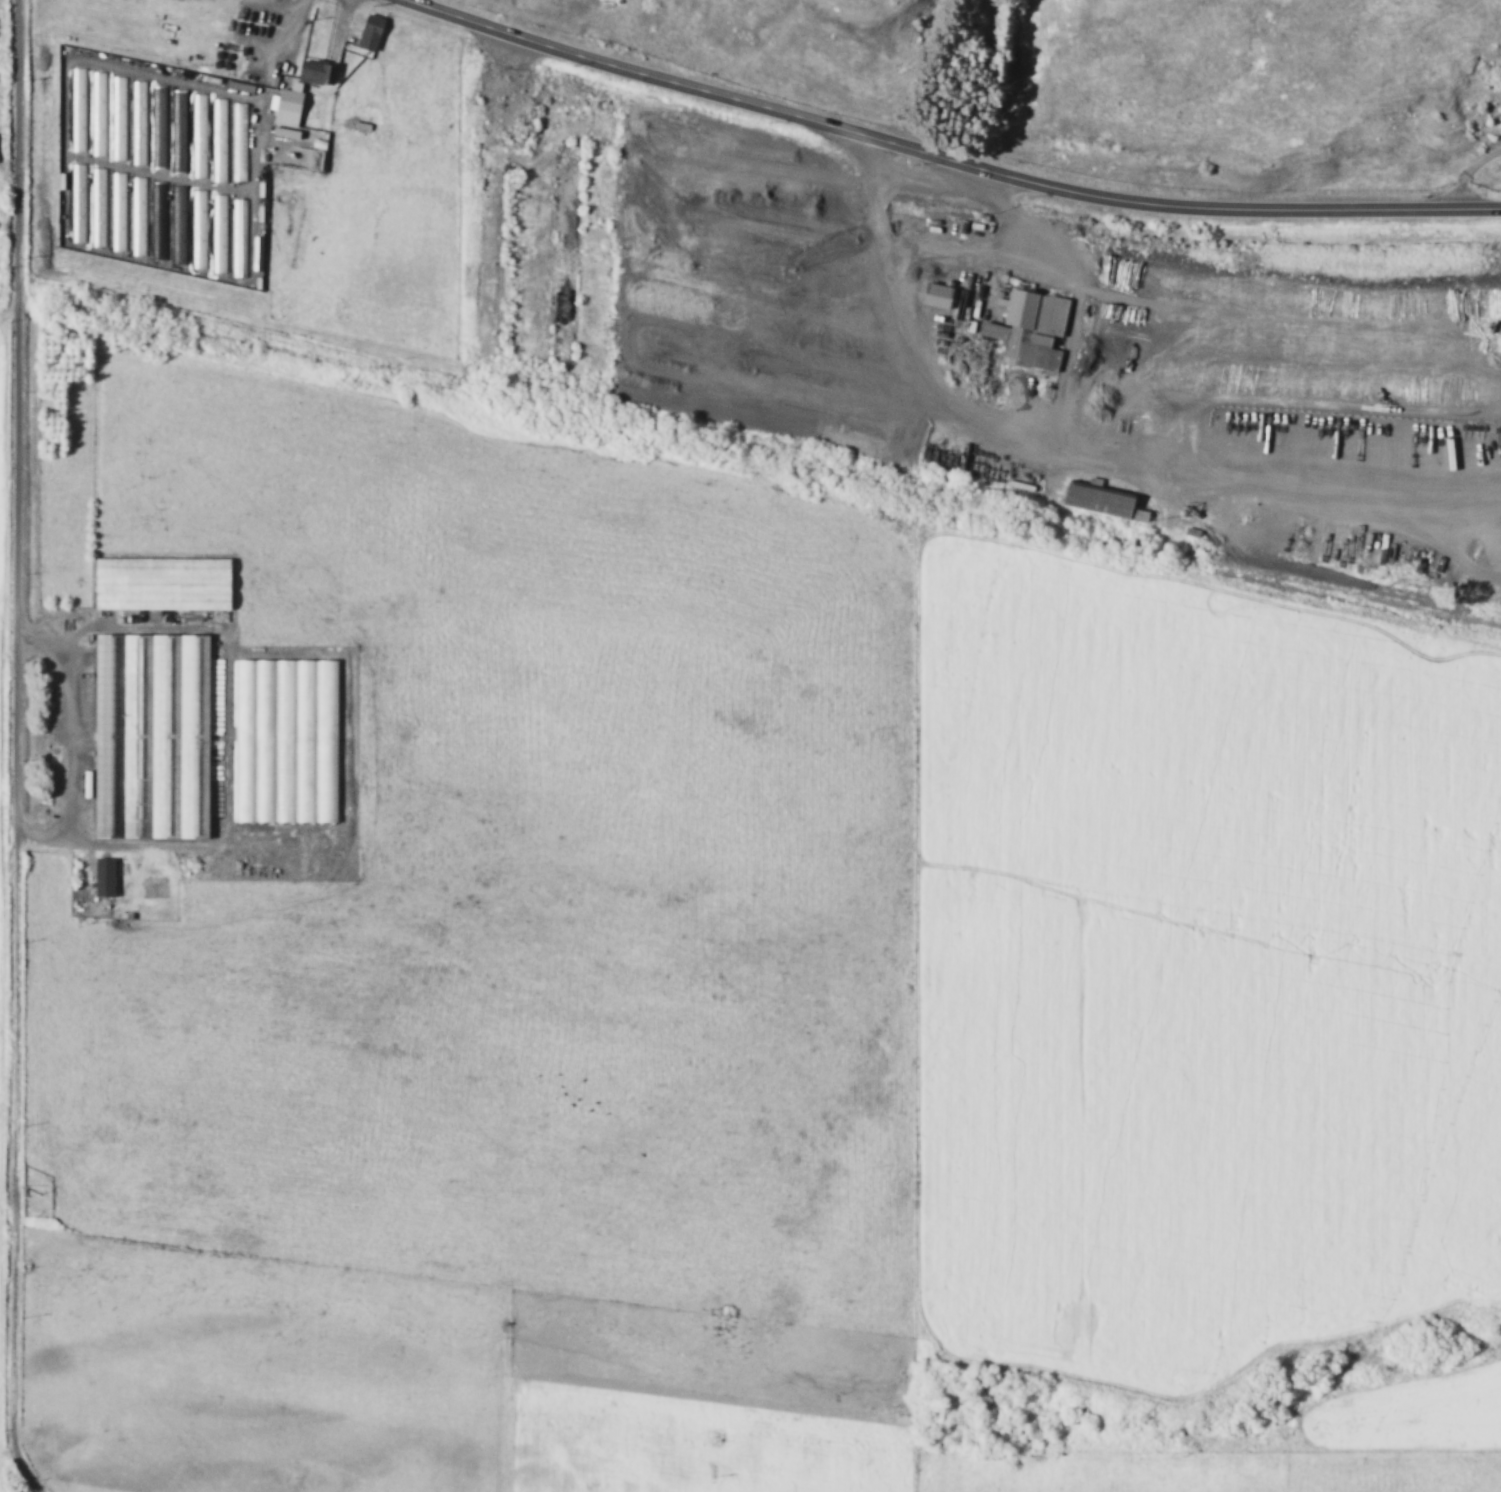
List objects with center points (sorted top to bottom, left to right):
building: (376, 33)
building: (322, 73)
building: (141, 100)
building: (81, 111)
building: (293, 112)
building: (102, 115)
building: (121, 119)
building: (182, 132)
building: (202, 136)
building: (143, 141)
building: (221, 141)
road: (935, 158)
road: (1465, 175)
building: (121, 212)
building: (239, 212)
building: (141, 217)
building: (162, 219)
building: (181, 225)
building: (202, 230)
building: (222, 234)
building: (934, 295)
building: (1028, 328)
building: (1098, 502)
building: (167, 585)
building: (283, 717)
road: (18, 750)
building: (109, 878)

